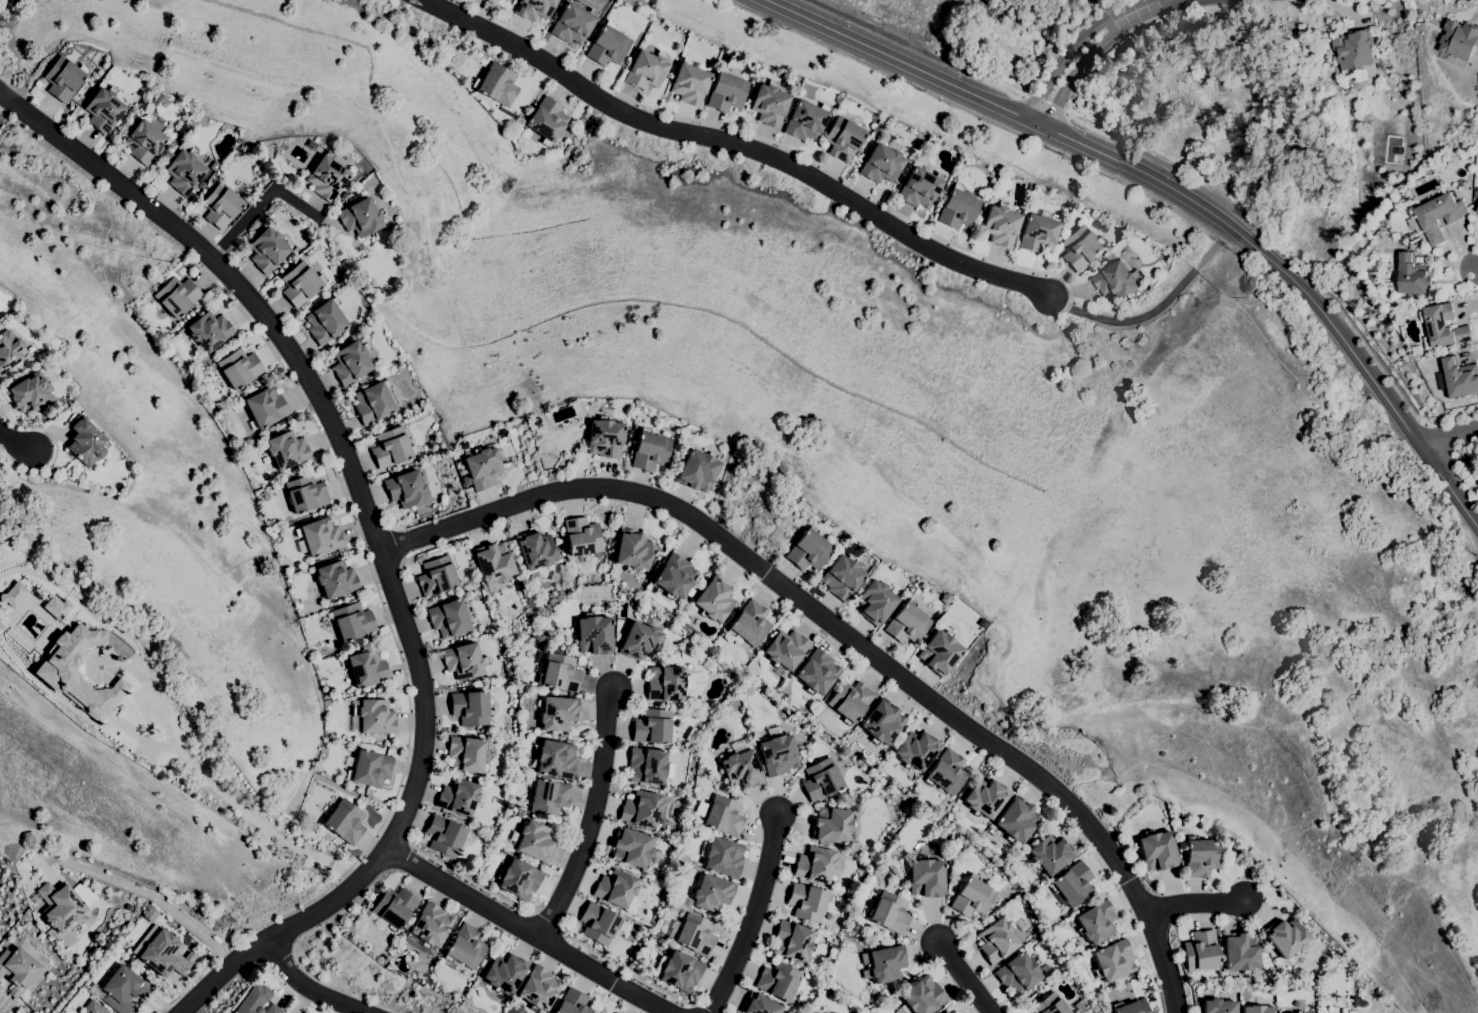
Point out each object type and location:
building: (508, 0)
building: (492, 1)
road: (1156, 4)
building: (534, 9)
building: (573, 23)
building: (1459, 39)
building: (608, 45)
building: (1353, 49)
road: (1069, 50)
road: (1085, 63)
building: (646, 70)
road: (972, 73)
building: (64, 78)
building: (689, 83)
building: (497, 84)
building: (726, 91)
building: (769, 104)
road: (1043, 104)
building: (104, 108)
road: (1015, 115)
building: (546, 120)
building: (806, 120)
building: (152, 122)
building: (843, 139)
building: (145, 141)
road: (734, 142)
road: (775, 143)
building: (882, 164)
building: (214, 165)
road: (1169, 169)
building: (184, 171)
building: (327, 177)
building: (1475, 182)
building: (920, 187)
building: (1475, 194)
road: (256, 204)
building: (220, 206)
building: (958, 208)
building: (1477, 211)
building: (1438, 216)
building: (360, 217)
building: (1001, 224)
building: (1039, 233)
building: (1403, 244)
building: (1081, 247)
building: (267, 250)
road: (1272, 250)
road: (1266, 258)
road: (1477, 270)
building: (1413, 276)
road: (1451, 277)
building: (1116, 281)
building: (301, 283)
building: (177, 296)
road: (1151, 309)
building: (326, 322)
building: (1441, 326)
building: (210, 330)
building: (10, 349)
road: (1374, 359)
building: (351, 362)
building: (239, 368)
building: (1459, 377)
road: (1383, 389)
building: (31, 392)
building: (374, 403)
building: (266, 407)
road: (45, 431)
building: (605, 437)
road: (1451, 437)
road: (1434, 441)
building: (86, 442)
road: (14, 443)
building: (391, 447)
building: (287, 449)
building: (650, 450)
building: (482, 468)
building: (698, 470)
road: (352, 480)
road: (1463, 480)
building: (405, 489)
building: (306, 493)
building: (319, 536)
building: (582, 536)
road: (365, 548)
building: (535, 549)
building: (632, 550)
building: (809, 550)
building: (494, 562)
road: (389, 568)
building: (436, 576)
building: (675, 576)
building: (842, 577)
building: (336, 579)
building: (11, 594)
building: (714, 599)
building: (494, 602)
building: (876, 602)
building: (55, 607)
building: (449, 618)
building: (353, 621)
building: (749, 623)
building: (907, 623)
road: (846, 632)
building: (594, 634)
building: (540, 635)
building: (640, 641)
building: (785, 649)
road: (843, 649)
building: (940, 651)
building: (464, 661)
building: (367, 668)
building: (77, 671)
building: (817, 671)
building: (560, 672)
building: (665, 683)
building: (850, 701)
building: (470, 708)
building: (558, 713)
building: (375, 716)
building: (882, 721)
building: (652, 726)
building: (811, 739)
building: (916, 750)
building: (778, 754)
building: (467, 755)
building: (554, 758)
building: (649, 766)
building: (370, 768)
building: (741, 769)
building: (947, 772)
building: (820, 779)
road: (214, 784)
building: (459, 796)
building: (550, 797)
building: (986, 797)
building: (641, 808)
road: (595, 815)
building: (724, 816)
building: (1017, 820)
building: (345, 822)
building: (831, 825)
building: (445, 835)
building: (535, 842)
road: (405, 847)
building: (631, 847)
building: (1157, 850)
building: (1050, 854)
building: (1201, 856)
building: (724, 857)
building: (815, 865)
building: (926, 877)
road: (469, 878)
building: (519, 879)
building: (1072, 884)
building: (615, 889)
building: (712, 893)
road: (153, 894)
building: (972, 897)
road: (1196, 901)
building: (807, 902)
building: (60, 905)
building: (393, 907)
building: (890, 912)
building: (149, 914)
road: (753, 915)
road: (547, 920)
building: (1096, 922)
building: (598, 923)
building: (431, 925)
building: (854, 926)
road: (530, 930)
building: (695, 934)
building: (1286, 937)
building: (792, 940)
building: (997, 941)
building: (465, 947)
building: (1201, 950)
building: (161, 952)
building: (1240, 952)
road: (269, 958)
building: (1114, 960)
building: (886, 963)
building: (17, 969)
road: (223, 970)
building: (677, 970)
building: (505, 971)
road: (627, 971)
building: (1017, 973)
road: (965, 976)
building: (778, 981)
road: (311, 987)
building: (539, 988)
building: (120, 990)
road: (291, 991)
building: (923, 996)
building: (256, 1001)
building: (572, 1003)
building: (760, 1005)
building: (1050, 1005)
building: (1218, 1006)
road: (702, 1007)
building: (1131, 1007)
building: (93, 1008)
building: (1258, 1009)
building: (946, 1011)
building: (231, 1012)
building: (614, 1012)
building: (1280, 1012)
building: (1299, 1012)

